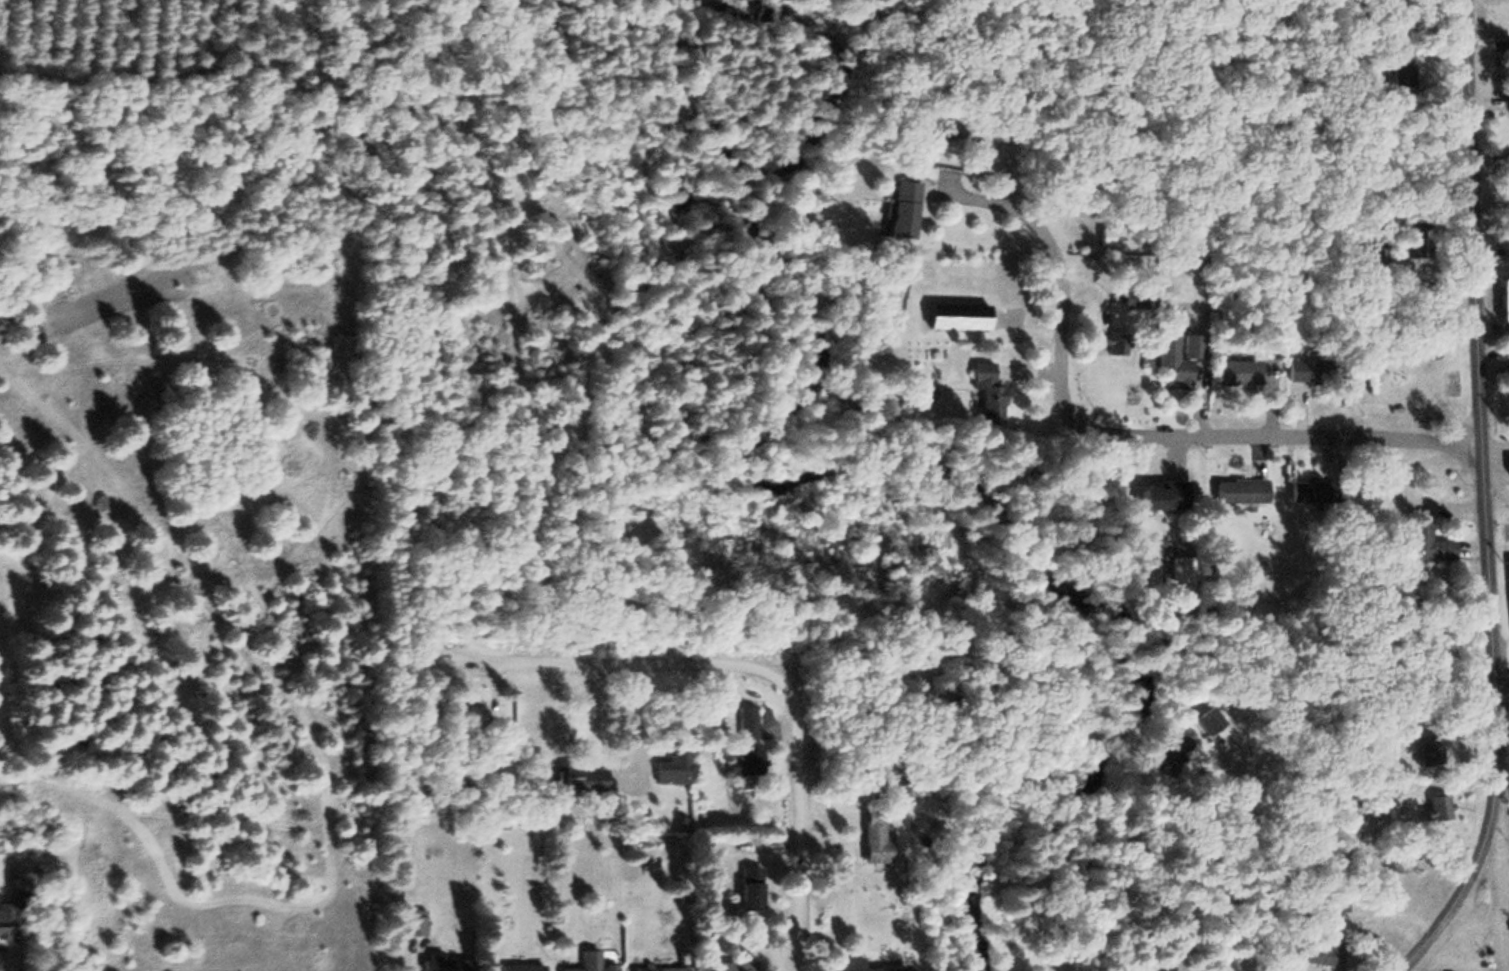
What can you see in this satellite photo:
building: (1496, 44)
building: (1395, 66)
building: (1503, 85)
building: (1503, 160)
building: (894, 209)
building: (1408, 221)
building: (1096, 235)
building: (1124, 298)
building: (1501, 298)
building: (1172, 357)
building: (1305, 367)
building: (1232, 371)
road: (1268, 390)
building: (984, 391)
road: (1114, 437)
building: (1505, 463)
road: (1480, 485)
building: (1238, 488)
building: (1311, 489)
building: (1160, 493)
building: (1425, 542)
road: (752, 668)
building: (738, 719)
building: (1176, 748)
building: (737, 758)
building: (667, 765)
building: (574, 777)
building: (1431, 806)
road: (1119, 832)
building: (866, 836)
building: (742, 886)
road: (1457, 900)
building: (1332, 902)
building: (14, 904)
building: (416, 922)
road: (1274, 943)
building: (1309, 950)
building: (849, 960)
building: (583, 962)
building: (445, 964)
building: (725, 965)
building: (516, 966)
building: (653, 968)

